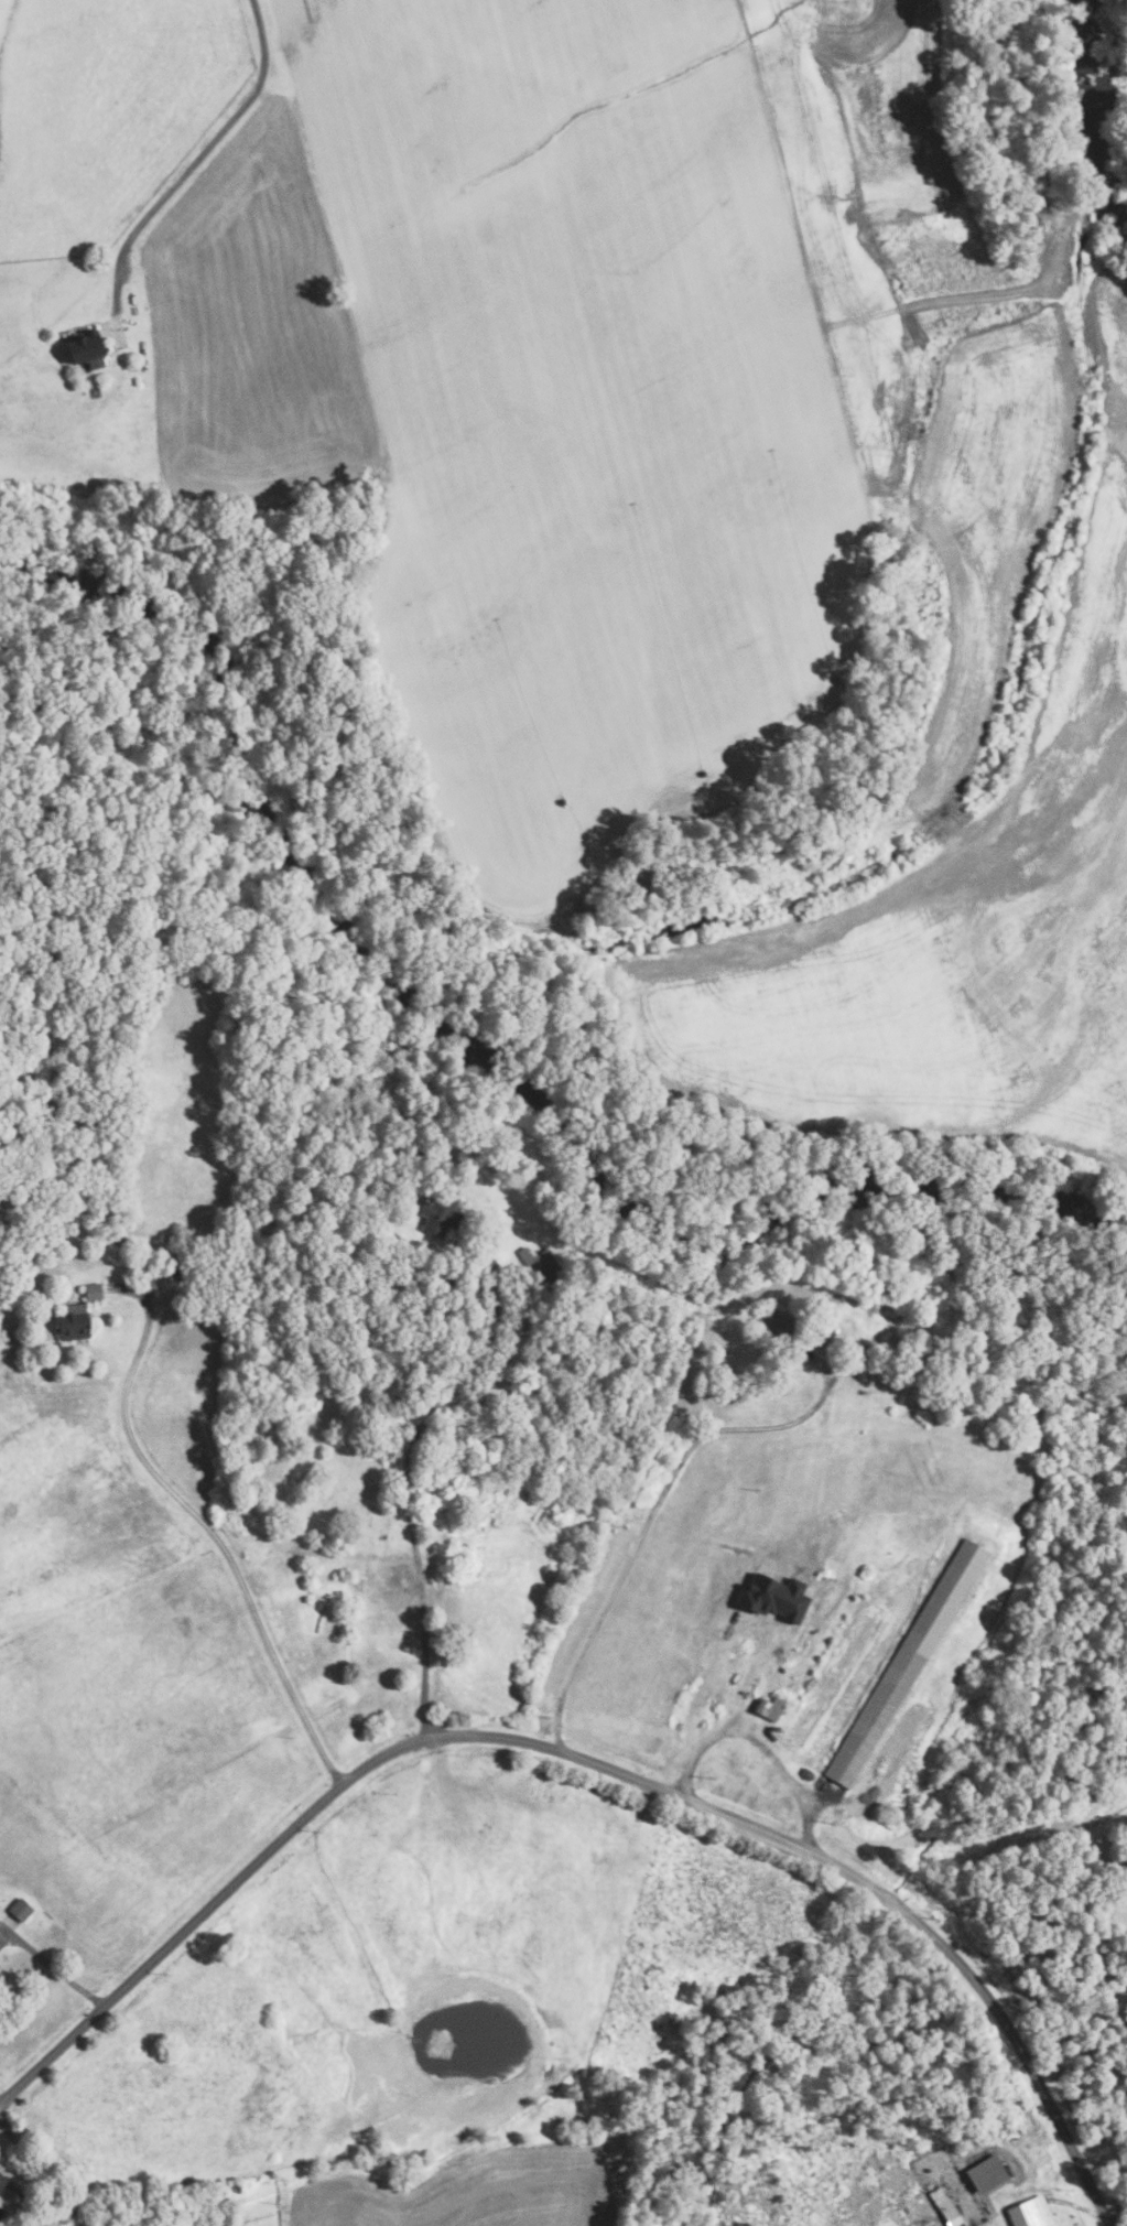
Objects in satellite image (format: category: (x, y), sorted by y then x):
road: (188, 150)
building: (84, 352)
building: (437, 1213)
building: (118, 1240)
building: (143, 1251)
building: (174, 1262)
building: (538, 1264)
building: (90, 1292)
building: (13, 1295)
building: (44, 1307)
building: (71, 1322)
building: (774, 1326)
building: (836, 1328)
building: (913, 1371)
road: (404, 1488)
building: (249, 1511)
building: (251, 1520)
road: (650, 1520)
building: (293, 1522)
road: (212, 1535)
road: (362, 1556)
building: (358, 1584)
building: (769, 1597)
building: (906, 1664)
road: (706, 1707)
building: (768, 1708)
road: (780, 1759)
road: (587, 1762)
building: (1126, 1878)
building: (19, 1910)
road: (54, 1963)
road: (1, 2100)
road: (42, 2172)
building: (986, 2173)
building: (2, 2183)
building: (944, 2206)
road: (1118, 2212)
building: (1029, 2213)
road: (59, 2215)

